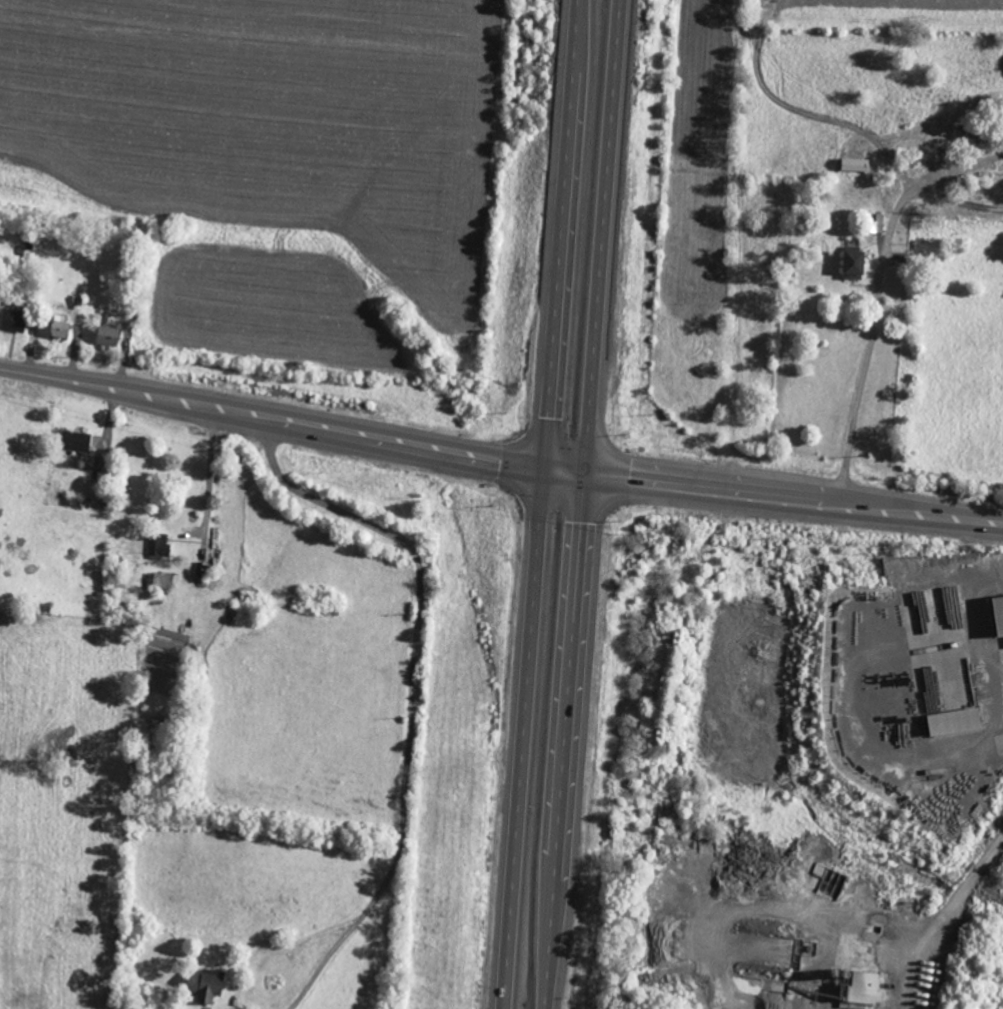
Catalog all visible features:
building: (854, 164)
road: (958, 171)
road: (958, 201)
building: (852, 265)
building: (12, 320)
building: (58, 329)
building: (107, 336)
road: (870, 343)
building: (74, 441)
road: (498, 460)
road: (541, 504)
road: (584, 504)
road: (343, 522)
building: (158, 545)
building: (997, 613)
building: (953, 721)
quarry: (800, 776)
road: (405, 777)
road: (943, 916)
road: (276, 949)
road: (324, 962)
building: (205, 984)
building: (862, 987)

